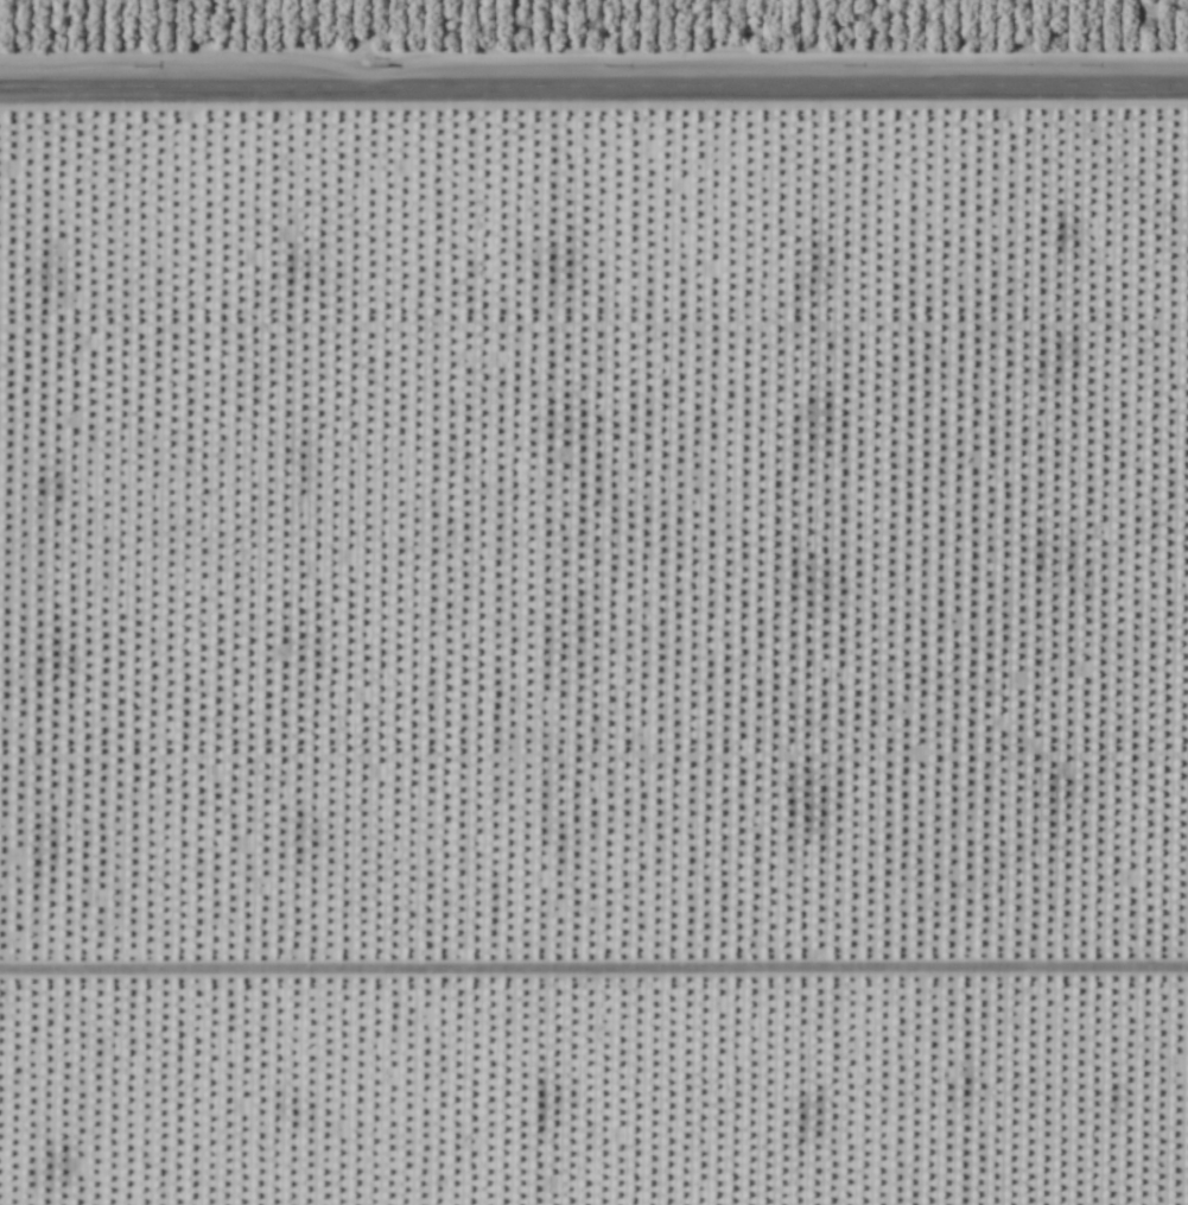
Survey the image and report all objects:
road: (593, 90)
crop: (593, 602)

